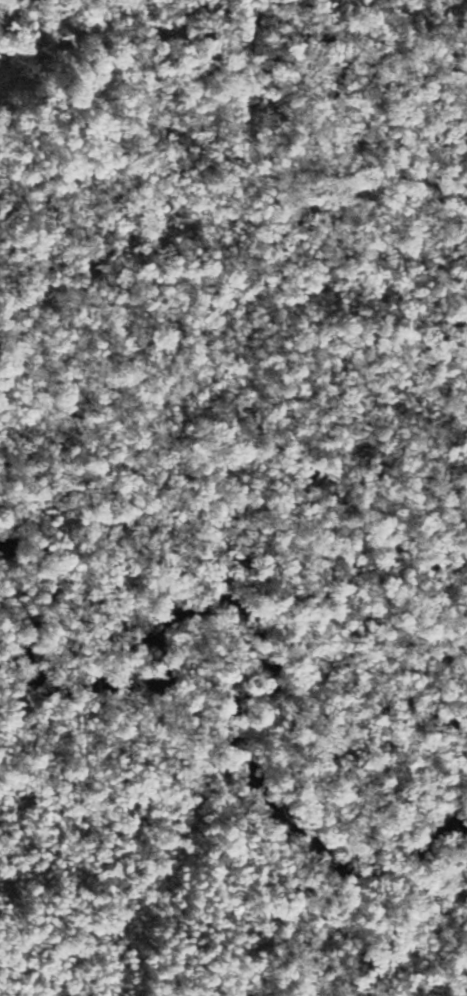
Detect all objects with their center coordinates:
river: (237, 697)

